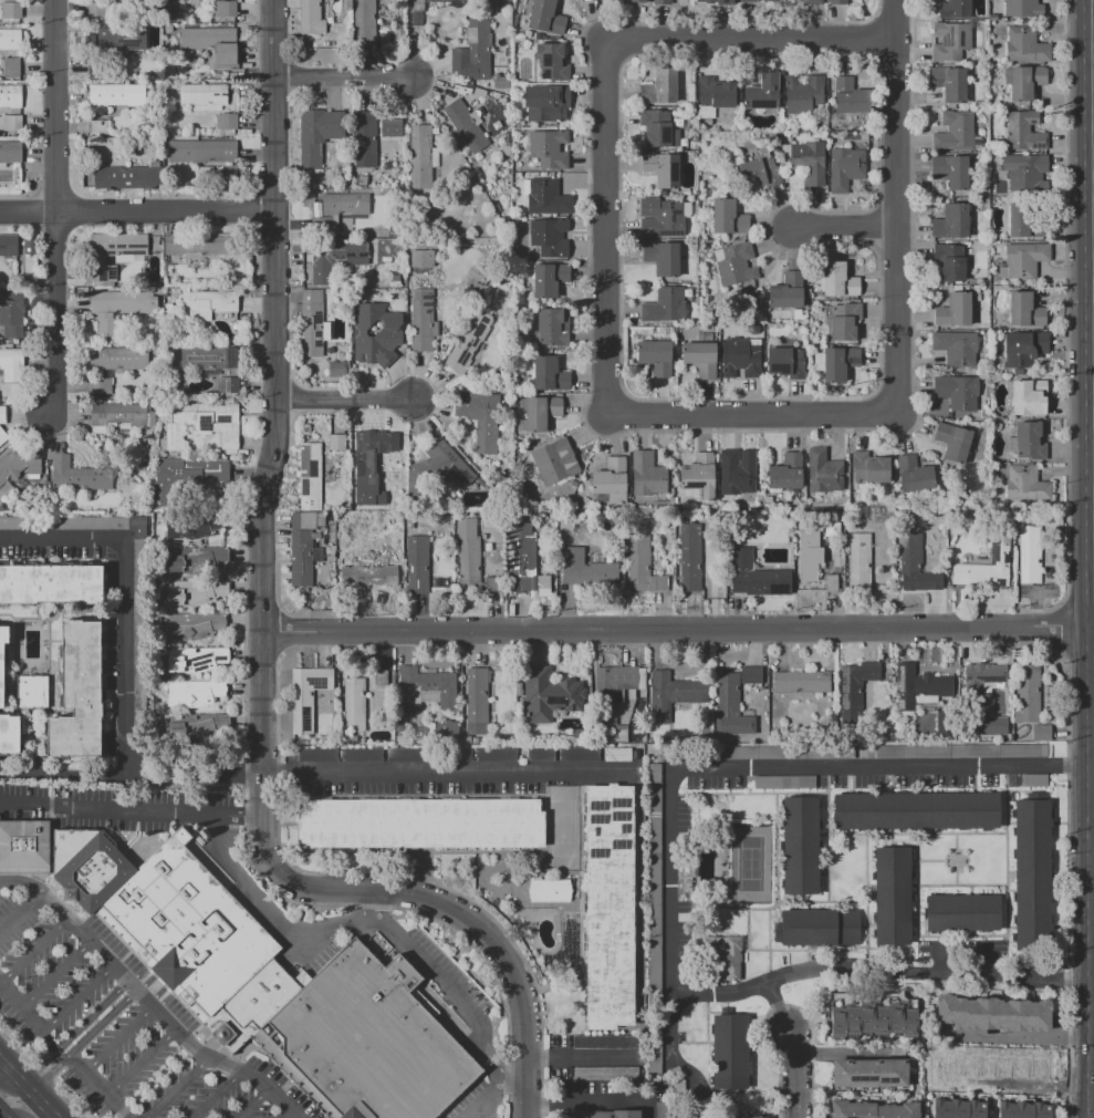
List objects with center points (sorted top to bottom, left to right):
building: (215, 0)
building: (584, 0)
building: (770, 0)
building: (639, 1)
building: (660, 1)
building: (715, 1)
building: (748, 1)
building: (812, 1)
building: (838, 2)
building: (96, 8)
building: (1022, 8)
building: (226, 9)
building: (420, 9)
building: (954, 9)
building: (10, 10)
road: (893, 13)
building: (310, 17)
building: (992, 17)
building: (546, 18)
building: (364, 21)
building: (168, 28)
building: (478, 33)
building: (122, 38)
road: (748, 38)
building: (10, 39)
road: (875, 40)
building: (950, 42)
building: (211, 43)
building: (1025, 46)
building: (552, 62)
building: (11, 66)
road: (893, 66)
building: (218, 75)
road: (340, 75)
building: (1023, 81)
building: (948, 83)
building: (658, 86)
building: (468, 90)
building: (761, 93)
building: (803, 93)
building: (167, 94)
building: (116, 95)
building: (204, 95)
building: (10, 96)
building: (848, 96)
building: (712, 97)
building: (546, 103)
building: (227, 122)
building: (677, 122)
building: (11, 123)
building: (465, 126)
building: (98, 127)
building: (392, 127)
building: (658, 128)
building: (1024, 131)
building: (955, 133)
building: (316, 134)
building: (365, 138)
building: (548, 149)
building: (202, 151)
building: (504, 151)
building: (10, 152)
building: (420, 157)
building: (806, 161)
building: (661, 168)
building: (845, 168)
building: (758, 169)
building: (951, 170)
building: (239, 175)
building: (1029, 175)
building: (126, 177)
building: (545, 198)
road: (895, 198)
road: (895, 205)
road: (56, 208)
building: (337, 209)
road: (137, 211)
building: (728, 217)
building: (665, 219)
building: (1018, 220)
building: (951, 221)
road: (843, 225)
road: (604, 226)
building: (346, 227)
road: (878, 228)
building: (549, 237)
building: (197, 245)
building: (9, 246)
building: (30, 247)
building: (113, 255)
building: (661, 257)
building: (334, 258)
building: (421, 258)
road: (895, 258)
building: (1025, 258)
building: (950, 261)
building: (733, 265)
building: (549, 279)
building: (837, 280)
building: (394, 281)
building: (157, 290)
building: (786, 291)
building: (754, 301)
road: (879, 301)
building: (208, 304)
building: (664, 306)
building: (118, 307)
building: (954, 310)
building: (1024, 310)
road: (1092, 312)
building: (11, 314)
building: (844, 320)
building: (423, 321)
building: (312, 323)
building: (552, 324)
road: (1065, 324)
building: (376, 333)
building: (469, 340)
building: (955, 348)
building: (1024, 348)
building: (655, 356)
building: (740, 356)
building: (209, 358)
building: (118, 359)
building: (700, 359)
building: (785, 362)
building: (835, 362)
building: (11, 364)
building: (336, 369)
building: (549, 373)
building: (100, 385)
building: (228, 385)
building: (957, 392)
building: (1025, 398)
road: (345, 401)
building: (541, 412)
road: (750, 412)
building: (1, 413)
building: (118, 415)
building: (481, 418)
building: (201, 424)
building: (305, 429)
road: (275, 434)
building: (2, 436)
road: (606, 436)
building: (952, 441)
building: (336, 442)
building: (1027, 442)
building: (389, 443)
building: (554, 462)
building: (366, 464)
building: (17, 465)
building: (442, 465)
building: (868, 468)
building: (785, 472)
building: (823, 472)
building: (736, 474)
building: (647, 475)
building: (699, 475)
building: (914, 475)
building: (79, 476)
building: (310, 477)
building: (184, 478)
building: (612, 480)
building: (1025, 484)
building: (566, 522)
building: (409, 524)
building: (185, 528)
building: (137, 534)
building: (302, 546)
building: (468, 550)
building: (809, 553)
building: (1030, 555)
building: (689, 557)
building: (195, 558)
building: (523, 561)
building: (859, 561)
building: (914, 563)
building: (417, 565)
building: (642, 565)
building: (987, 566)
building: (585, 568)
building: (369, 576)
building: (756, 576)
building: (831, 581)
building: (491, 583)
building: (51, 584)
building: (195, 591)
road: (124, 592)
road: (1093, 624)
building: (192, 625)
road: (677, 628)
building: (194, 659)
road: (1093, 660)
building: (3, 662)
building: (751, 674)
building: (381, 677)
building: (981, 680)
building: (802, 682)
building: (856, 683)
building: (426, 686)
building: (923, 687)
building: (614, 690)
building: (31, 692)
building: (77, 693)
building: (192, 693)
building: (1028, 693)
building: (549, 694)
building: (673, 694)
building: (305, 696)
building: (476, 701)
building: (354, 704)
building: (731, 707)
building: (195, 725)
building: (444, 731)
building: (1042, 732)
building: (10, 734)
building: (577, 735)
building: (466, 738)
building: (347, 739)
building: (404, 739)
building: (757, 752)
building: (954, 752)
building: (429, 754)
building: (541, 754)
building: (616, 754)
building: (317, 755)
building: (362, 755)
building: (497, 755)
building: (580, 755)
road: (132, 769)
road: (441, 773)
building: (1033, 780)
building: (784, 781)
road: (132, 808)
building: (916, 810)
building: (419, 822)
road: (51, 842)
building: (801, 846)
building: (23, 847)
park: (750, 863)
building: (1031, 874)
road: (24, 878)
road: (22, 884)
road: (671, 888)
building: (550, 891)
building: (892, 896)
road: (369, 903)
building: (608, 907)
building: (962, 912)
road: (64, 919)
building: (655, 920)
road: (469, 923)
road: (382, 925)
building: (817, 927)
building: (178, 929)
road: (33, 952)
building: (725, 957)
road: (55, 976)
road: (79, 998)
road: (22, 1008)
building: (992, 1014)
building: (873, 1019)
parking lot: (119, 1024)
road: (73, 1033)
fountain: (223, 1034)
road: (1019, 1036)
road: (118, 1039)
road: (83, 1042)
building: (606, 1042)
building: (366, 1043)
road: (48, 1044)
road: (793, 1047)
building: (730, 1049)
road: (205, 1056)
road: (581, 1056)
road: (143, 1064)
building: (871, 1073)
building: (1015, 1073)
building: (605, 1074)
road: (1093, 1077)
road: (511, 1081)
road: (100, 1087)
road: (178, 1088)
road: (27, 1089)
road: (217, 1095)
road: (14, 1096)
road: (595, 1097)
road: (253, 1105)
building: (958, 1107)
building: (873, 1109)
building: (1023, 1109)
building: (661, 1110)
building: (597, 1114)
road: (1, 1116)
road: (286, 1116)
building: (683, 1117)
building: (702, 1117)
building: (736, 1117)
building: (756, 1117)

